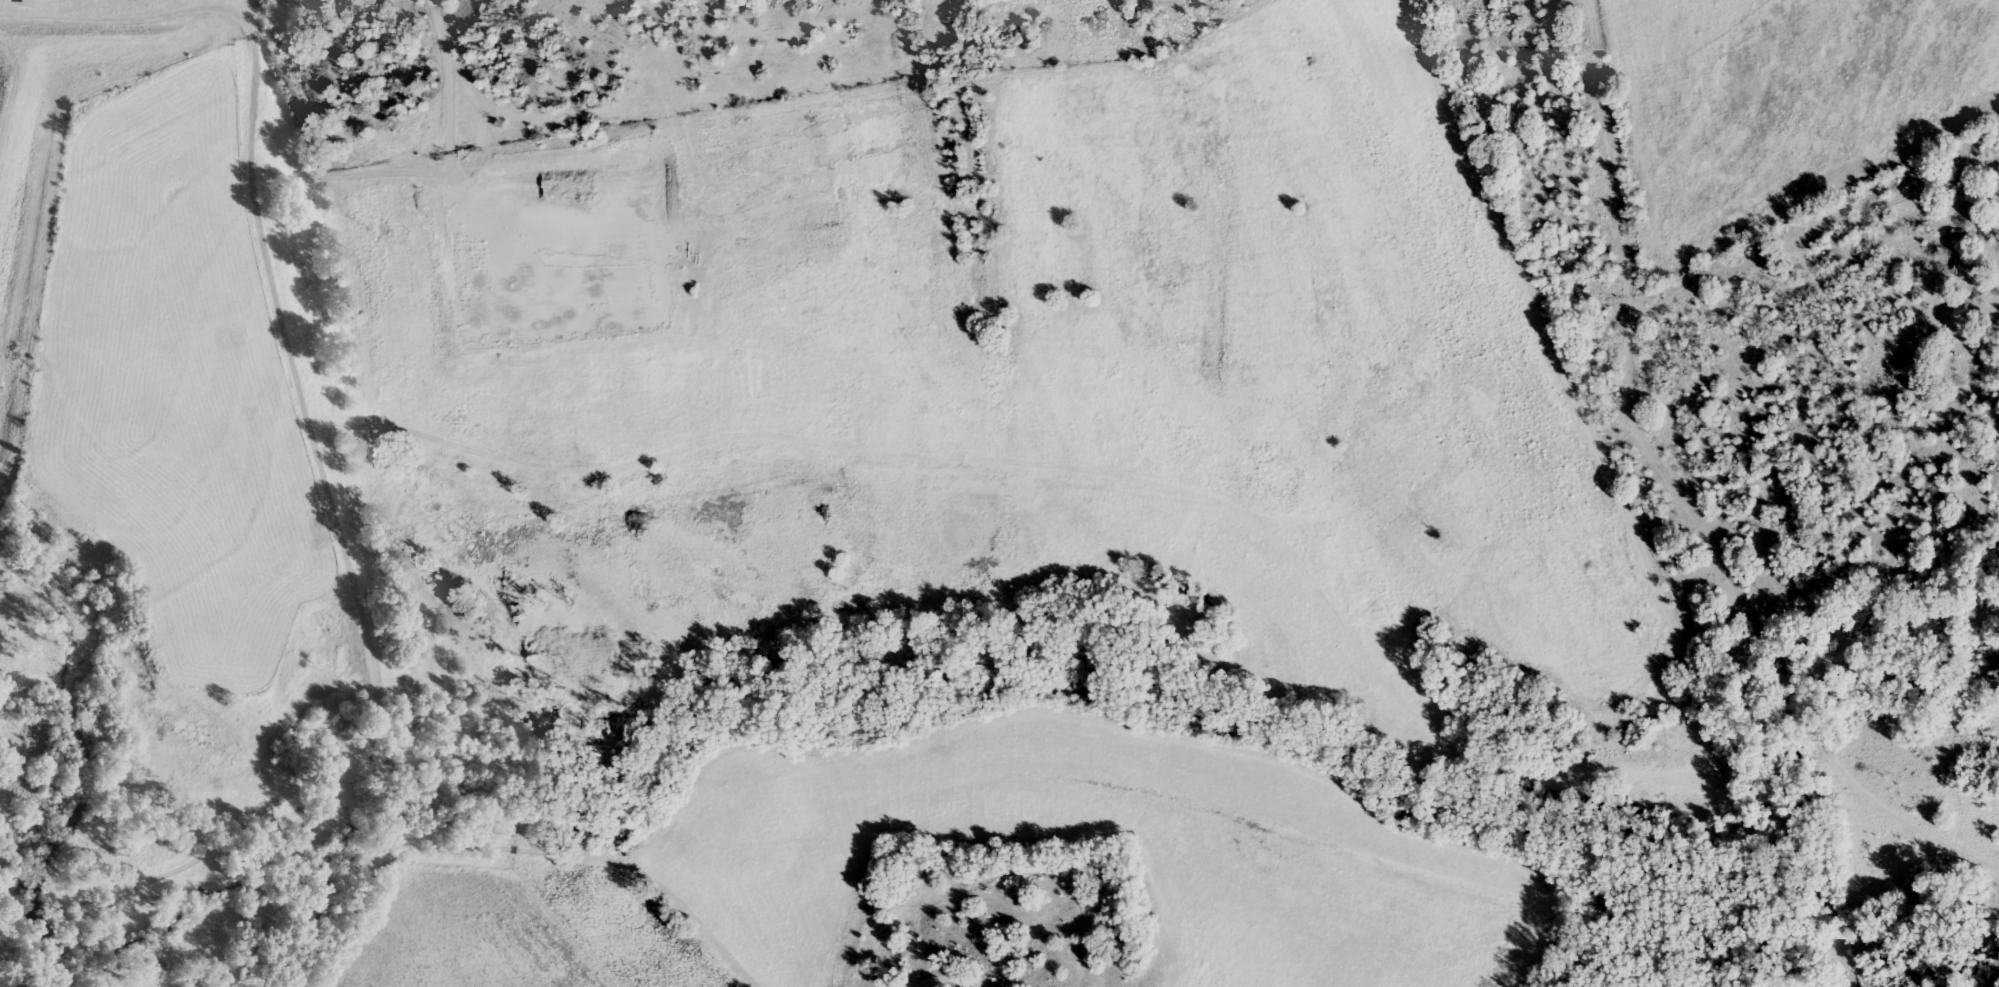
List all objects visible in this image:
road: (10, 85)
road: (426, 170)
road: (746, 436)
road: (1664, 597)
road: (366, 821)
road: (173, 856)
road: (1811, 872)
road: (948, 978)

